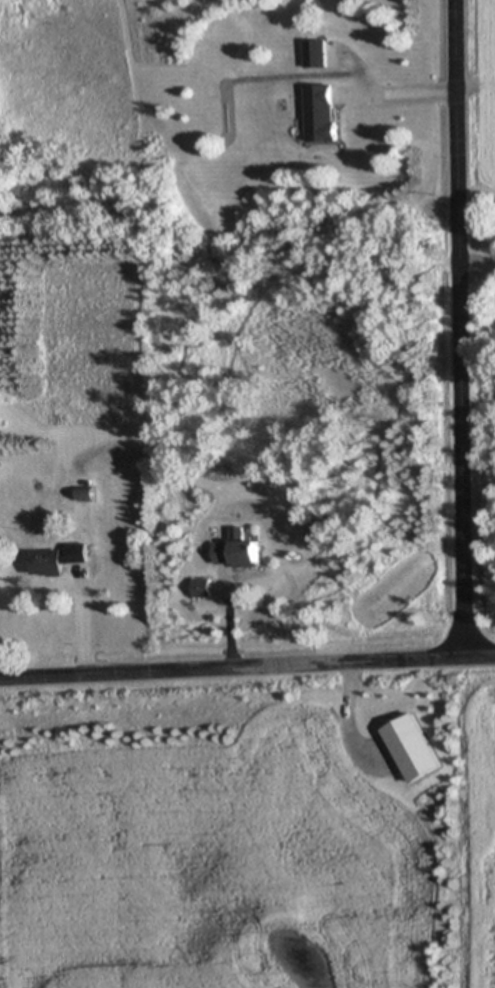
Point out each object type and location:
building: (318, 55)
road: (410, 93)
building: (323, 115)
road: (476, 259)
road: (458, 328)
building: (241, 552)
building: (81, 554)
building: (51, 564)
building: (204, 589)
road: (85, 627)
road: (229, 631)
road: (247, 667)
building: (417, 751)

